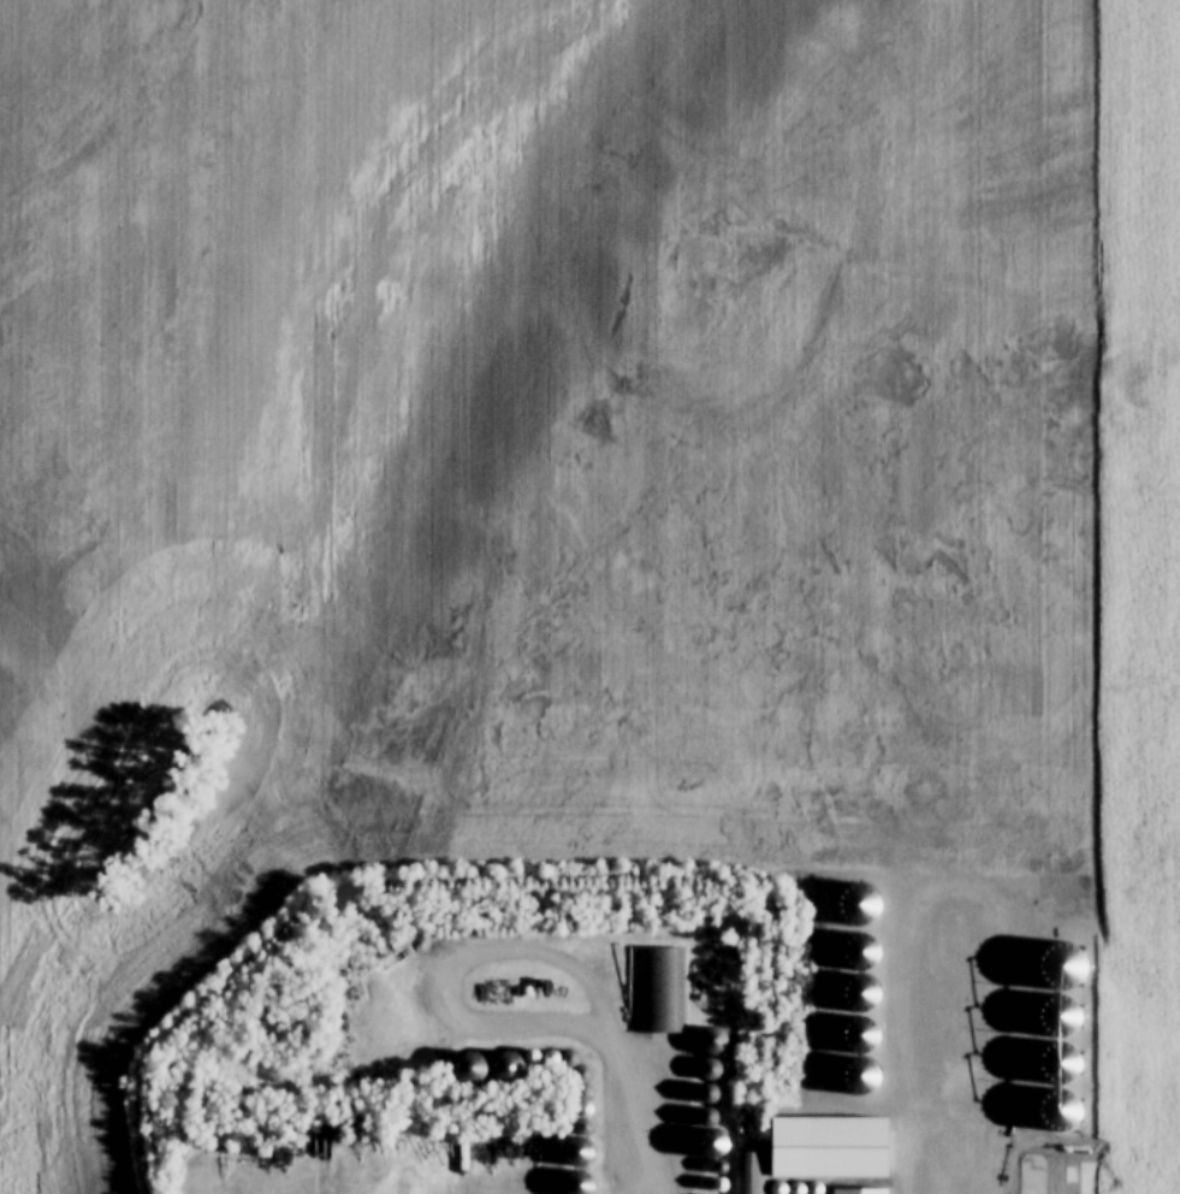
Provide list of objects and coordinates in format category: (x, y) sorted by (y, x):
building: (659, 988)
building: (713, 1040)
building: (506, 1065)
building: (711, 1066)
building: (469, 1069)
building: (830, 1145)
building: (579, 1165)
building: (749, 1172)
building: (860, 1189)

